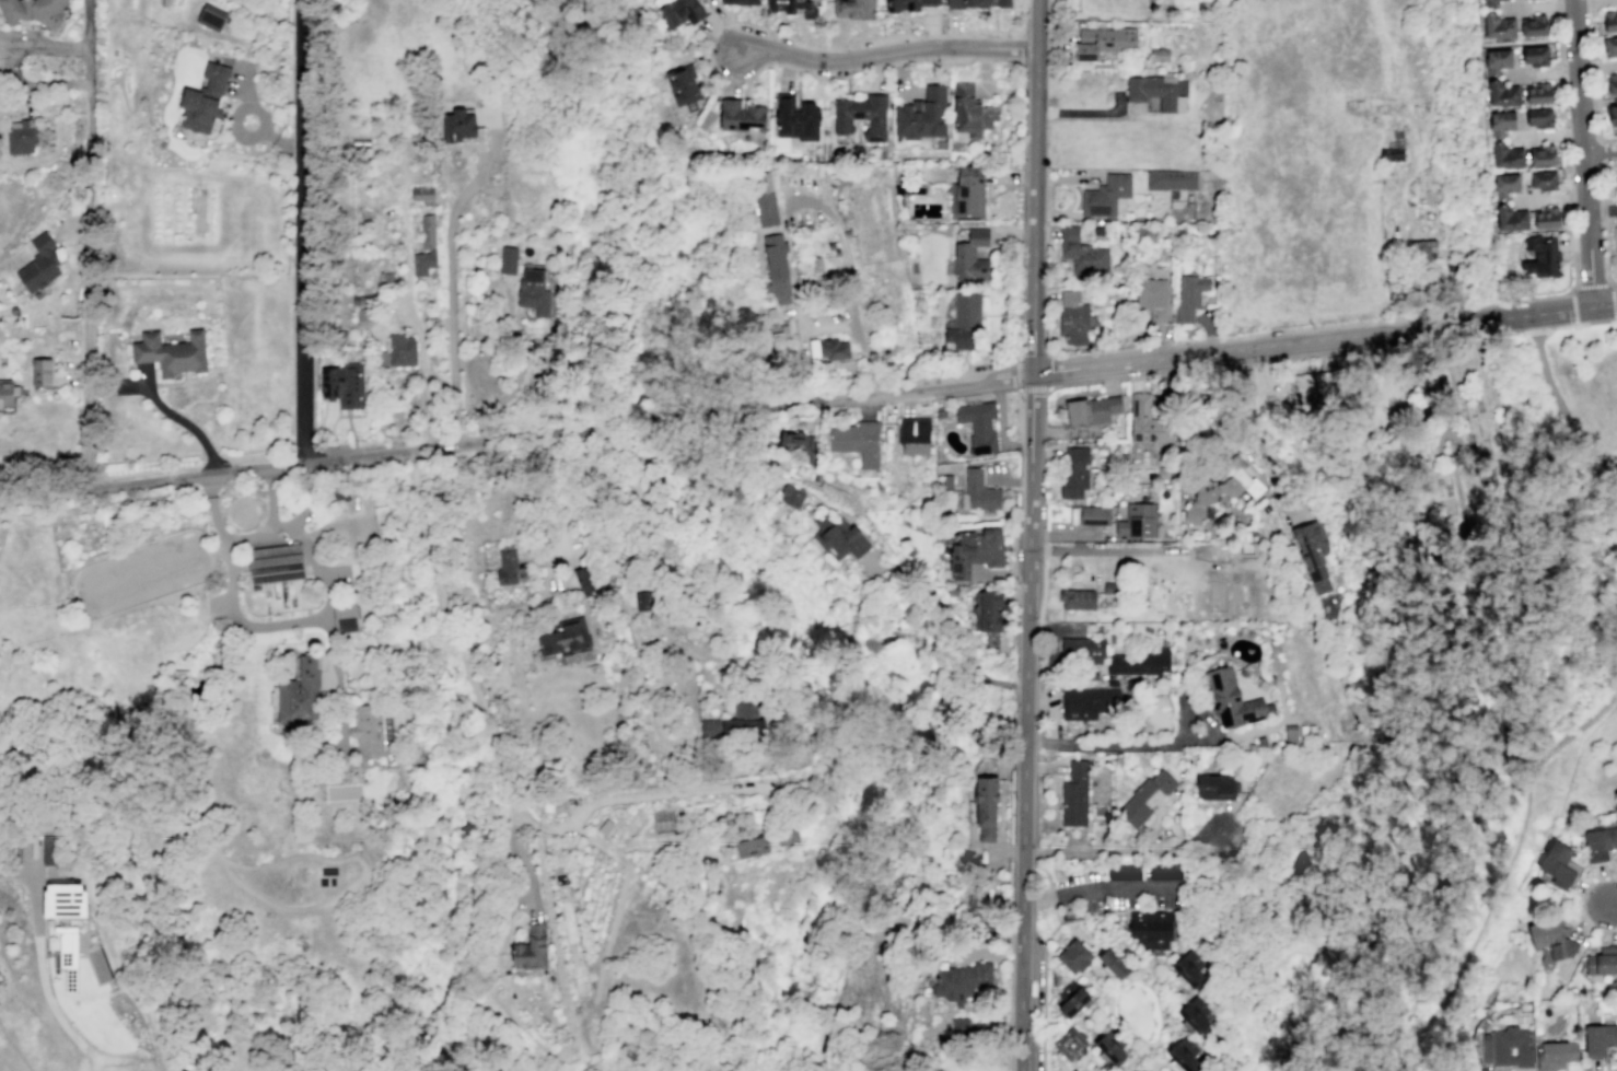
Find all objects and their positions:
building: (740, 2)
building: (979, 3)
building: (1487, 3)
road: (1590, 3)
building: (908, 4)
road: (1558, 4)
road: (1556, 5)
building: (793, 8)
building: (852, 9)
building: (33, 11)
building: (678, 12)
building: (210, 16)
building: (1607, 22)
building: (1531, 25)
building: (1494, 26)
road: (1592, 34)
road: (224, 36)
road: (1557, 38)
building: (1103, 42)
building: (1609, 46)
road: (1024, 48)
road: (884, 53)
building: (1159, 54)
building: (1535, 55)
building: (1497, 60)
road: (2, 62)
road: (4, 63)
road: (1594, 67)
road: (858, 69)
road: (1559, 72)
road: (1562, 72)
road: (244, 82)
building: (1612, 82)
building: (1176, 84)
building: (684, 86)
building: (1502, 93)
building: (1538, 93)
building: (1151, 95)
building: (203, 98)
road: (1562, 103)
building: (1358, 105)
building: (1612, 110)
building: (970, 112)
road: (1083, 113)
road: (1596, 113)
building: (922, 114)
building: (860, 115)
building: (1539, 116)
building: (741, 117)
building: (795, 118)
building: (1501, 121)
building: (457, 126)
road: (261, 127)
road: (1545, 135)
road: (1563, 135)
building: (21, 136)
road: (279, 141)
road: (1601, 151)
road: (1582, 152)
road: (1599, 152)
building: (1391, 154)
building: (1542, 154)
building: (1507, 155)
road: (1566, 165)
road: (1602, 175)
building: (1616, 176)
building: (1543, 178)
building: (1171, 179)
building: (1504, 184)
road: (1036, 185)
building: (421, 194)
building: (967, 194)
road: (1070, 195)
building: (1105, 195)
road: (1568, 197)
road: (1549, 198)
building: (766, 209)
road: (1601, 209)
road: (1604, 209)
building: (1546, 217)
building: (1510, 218)
building: (1616, 225)
road: (69, 228)
road: (301, 231)
building: (427, 231)
building: (1143, 234)
road: (88, 244)
road: (841, 248)
building: (1422, 249)
building: (970, 253)
building: (1081, 253)
road: (1606, 255)
building: (1540, 257)
building: (508, 259)
building: (422, 263)
building: (38, 264)
building: (777, 267)
road: (1572, 273)
road: (450, 275)
road: (1392, 280)
road: (1592, 287)
building: (533, 292)
building: (1189, 295)
building: (1151, 298)
road: (1498, 302)
road: (1466, 306)
road: (1569, 307)
road: (1000, 314)
building: (363, 316)
road: (1500, 317)
building: (1073, 318)
building: (963, 321)
road: (414, 322)
road: (1581, 323)
road: (1535, 329)
road: (1501, 333)
road: (857, 336)
building: (783, 344)
road: (1403, 345)
building: (833, 349)
building: (400, 350)
building: (171, 351)
road: (1321, 351)
road: (1322, 353)
road: (1098, 362)
road: (1312, 366)
road: (1183, 370)
building: (40, 372)
building: (1327, 374)
power substation: (1312, 384)
building: (344, 385)
road: (1441, 385)
road: (1019, 388)
building: (5, 393)
road: (1556, 400)
building: (1090, 409)
building: (939, 412)
road: (1020, 414)
road: (688, 420)
building: (1147, 421)
building: (978, 426)
road: (1000, 426)
road: (1253, 432)
building: (914, 435)
building: (857, 441)
road: (1459, 441)
building: (800, 445)
road: (1020, 449)
park: (1432, 457)
road: (327, 459)
building: (1073, 473)
building: (1222, 488)
building: (979, 491)
building: (791, 496)
road: (270, 501)
road: (569, 503)
road: (1459, 505)
building: (1094, 515)
building: (382, 521)
building: (1138, 521)
road: (294, 524)
road: (349, 535)
building: (839, 536)
building: (974, 550)
road: (1109, 550)
building: (1313, 552)
building: (275, 562)
road: (1013, 566)
building: (509, 569)
building: (586, 579)
road: (1044, 587)
building: (1109, 587)
building: (952, 592)
building: (1077, 598)
building: (643, 599)
road: (231, 608)
park: (1574, 608)
building: (987, 609)
road: (1028, 610)
building: (345, 616)
road: (941, 633)
building: (565, 639)
building: (1081, 651)
building: (1139, 663)
building: (1091, 675)
road: (470, 677)
building: (1110, 683)
road: (1014, 685)
road: (338, 688)
road: (1186, 688)
building: (299, 694)
building: (1232, 699)
building: (1090, 702)
road: (1050, 707)
road: (1205, 713)
building: (735, 720)
road: (1264, 724)
building: (371, 729)
building: (1290, 734)
road: (1102, 742)
building: (1260, 742)
road: (1043, 768)
building: (1215, 787)
building: (1073, 794)
road: (629, 796)
building: (1143, 798)
road: (1572, 800)
building: (985, 805)
road: (1179, 818)
road: (31, 834)
building: (784, 838)
building: (1598, 842)
building: (752, 846)
road: (1127, 850)
building: (48, 851)
road: (1035, 851)
building: (1555, 864)
road: (1044, 870)
building: (1124, 871)
building: (1165, 871)
road: (1504, 873)
road: (236, 881)
road: (1012, 882)
road: (34, 887)
road: (1096, 887)
parking lot: (1110, 893)
building: (974, 897)
road: (1050, 897)
building: (65, 900)
road: (1613, 903)
road: (1582, 904)
road: (1129, 909)
road: (1102, 930)
building: (1150, 932)
building: (1550, 942)
building: (531, 950)
building: (67, 952)
road: (1305, 954)
building: (1072, 956)
road: (1021, 961)
building: (1603, 961)
building: (1112, 964)
road: (1148, 967)
building: (1189, 967)
road: (1087, 968)
building: (959, 981)
road: (1044, 986)
road: (1114, 989)
road: (1096, 993)
building: (1070, 999)
building: (1196, 1012)
road: (1102, 1015)
road: (1160, 1015)
road: (1061, 1021)
road: (62, 1023)
building: (959, 1027)
road: (1083, 1027)
road: (1127, 1029)
building: (1598, 1038)
building: (1070, 1044)
building: (1110, 1045)
building: (1508, 1046)
road: (1152, 1050)
road: (1087, 1051)
building: (1185, 1052)
building: (1555, 1055)
road: (1135, 1061)
road: (1153, 1061)
road: (1095, 1063)
road: (1164, 1063)
road: (1610, 1069)
building: (1073, 1070)
building: (1143, 1070)

